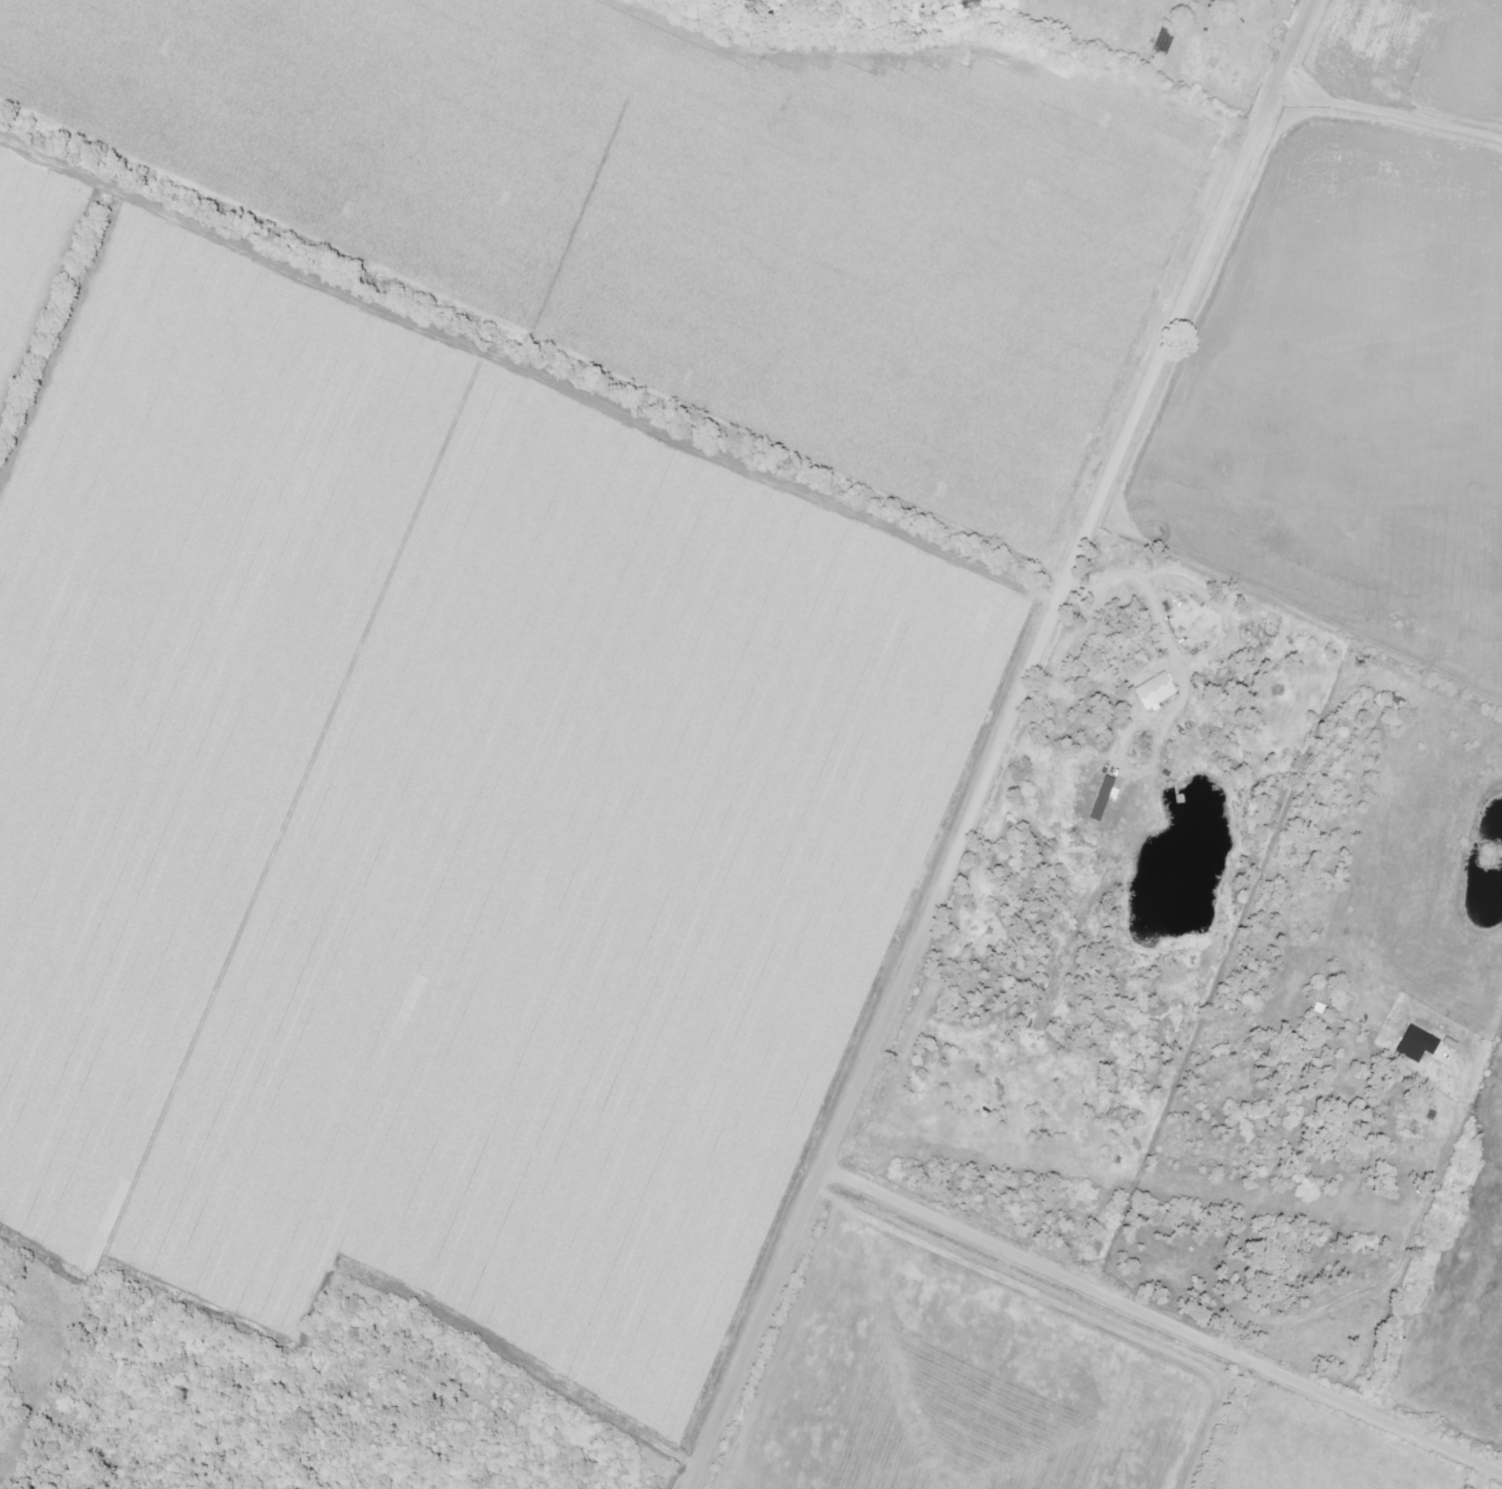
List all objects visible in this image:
building: (1168, 40)
road: (1387, 113)
building: (1160, 690)
road: (997, 742)
building: (1106, 798)
building: (1422, 1044)
road: (1400, 1256)
road: (1164, 1319)
road: (1481, 1476)

